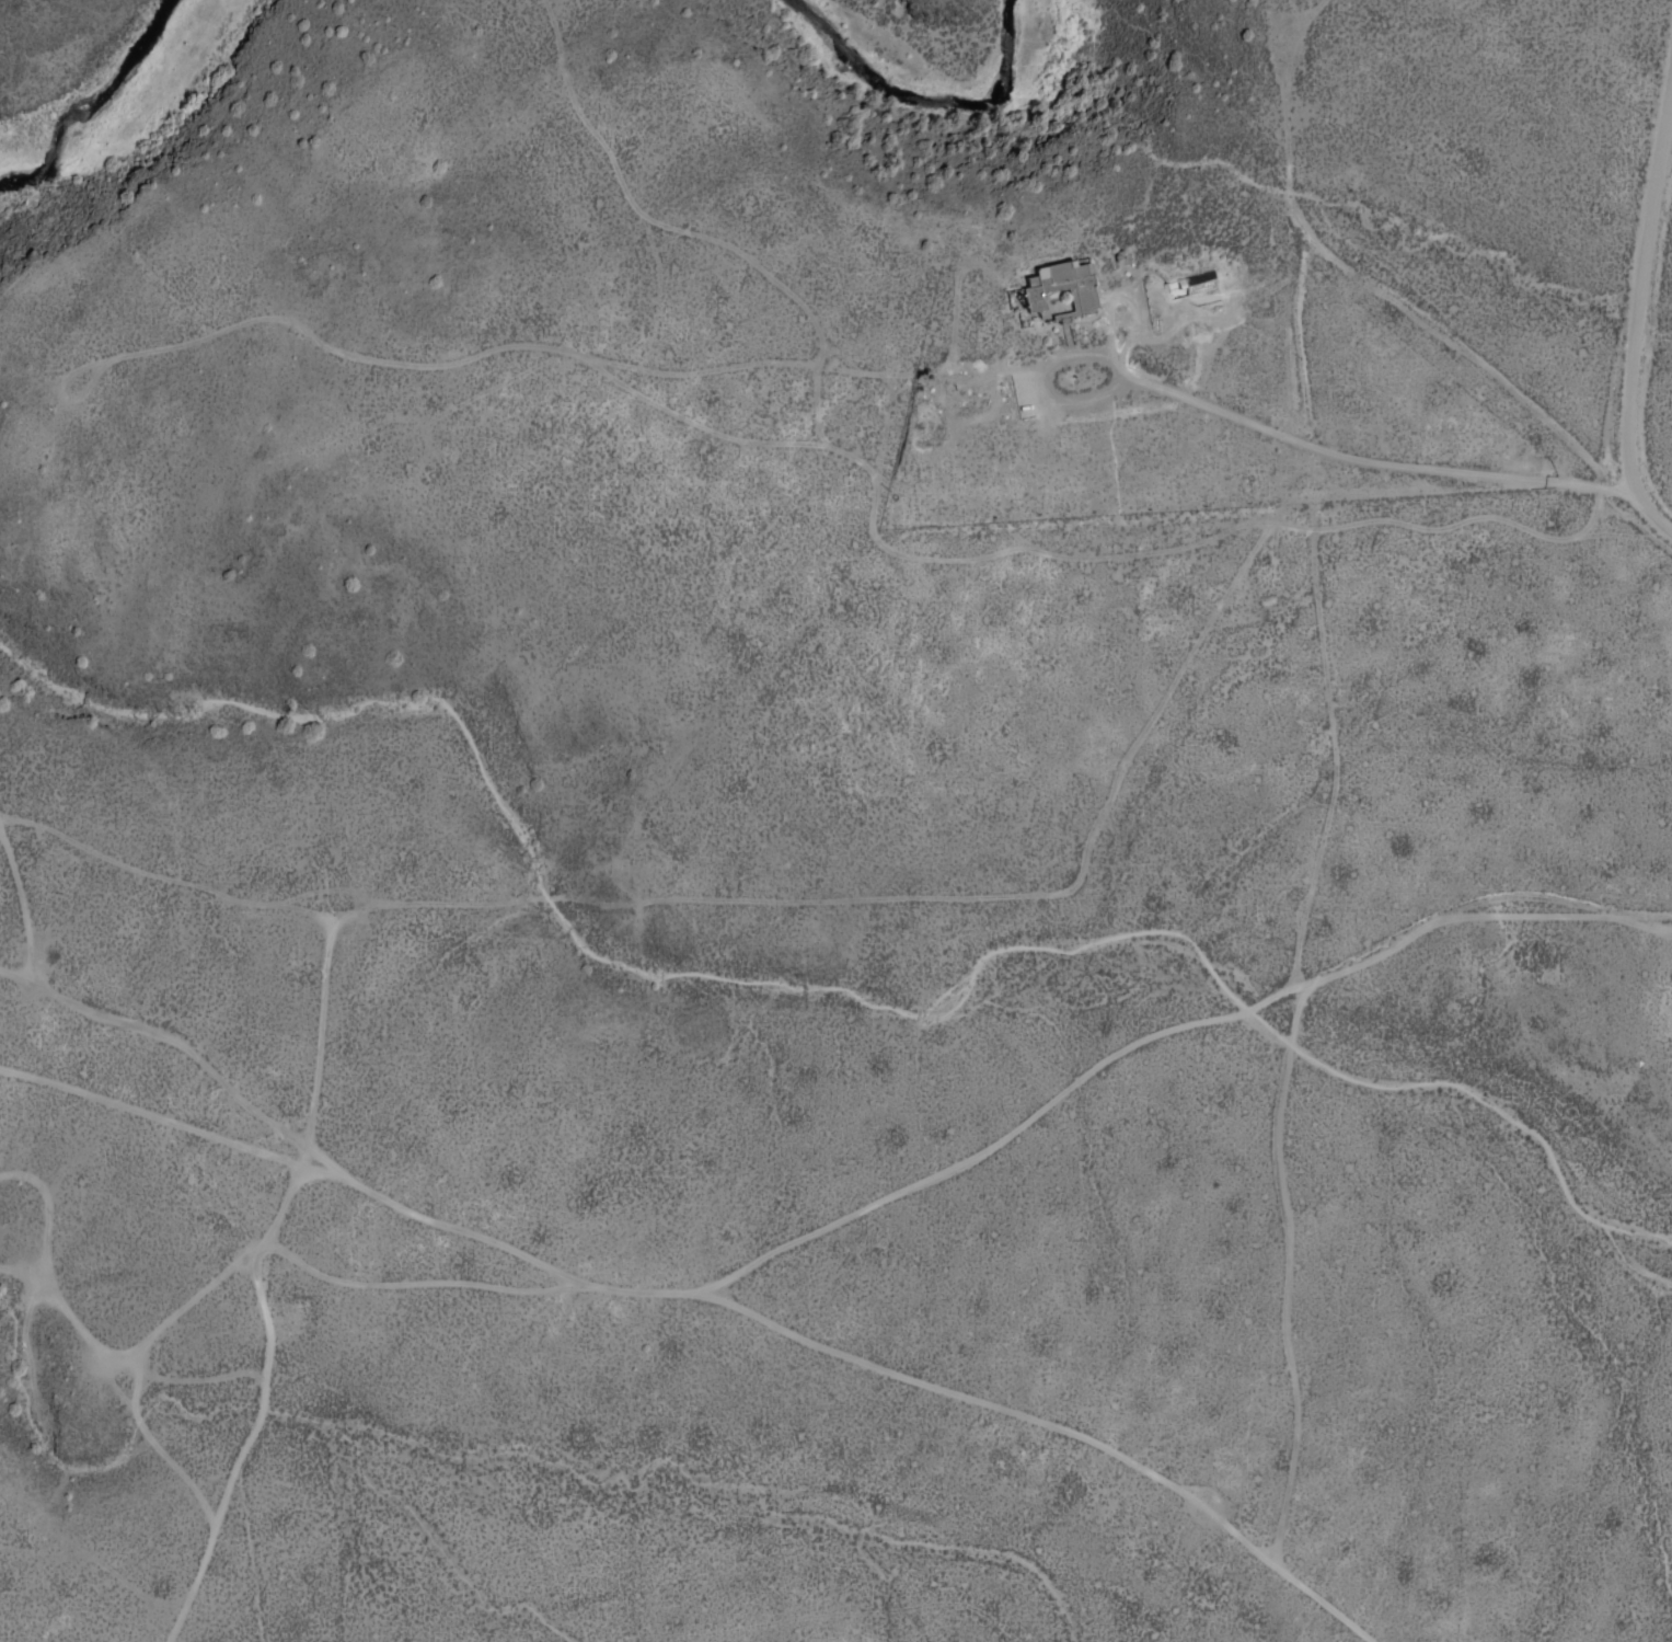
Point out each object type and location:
road: (1636, 300)

